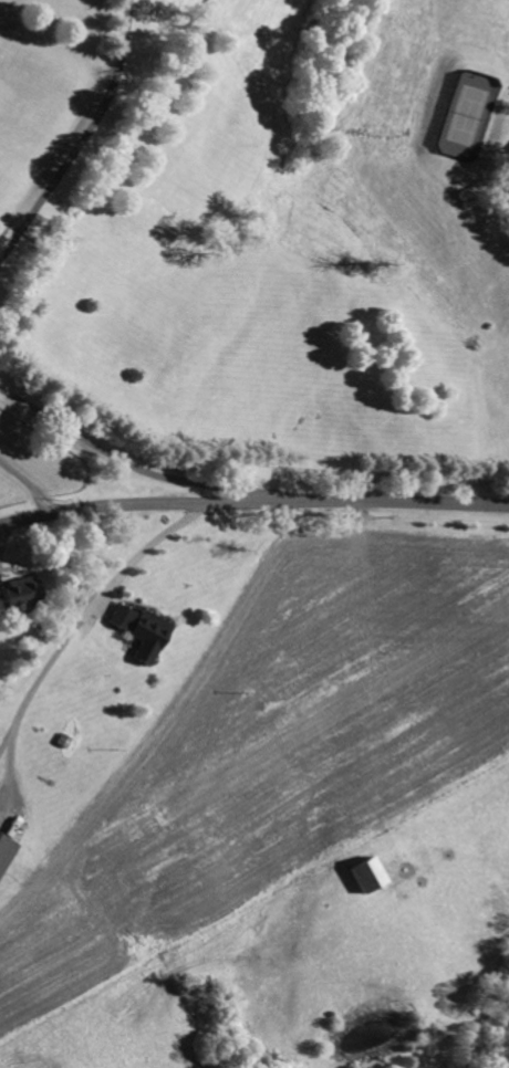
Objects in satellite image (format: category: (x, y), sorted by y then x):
road: (85, 140)
road: (508, 192)
road: (122, 453)
road: (253, 502)
building: (24, 590)
building: (1, 600)
road: (85, 619)
building: (147, 632)
building: (7, 851)
building: (371, 873)

